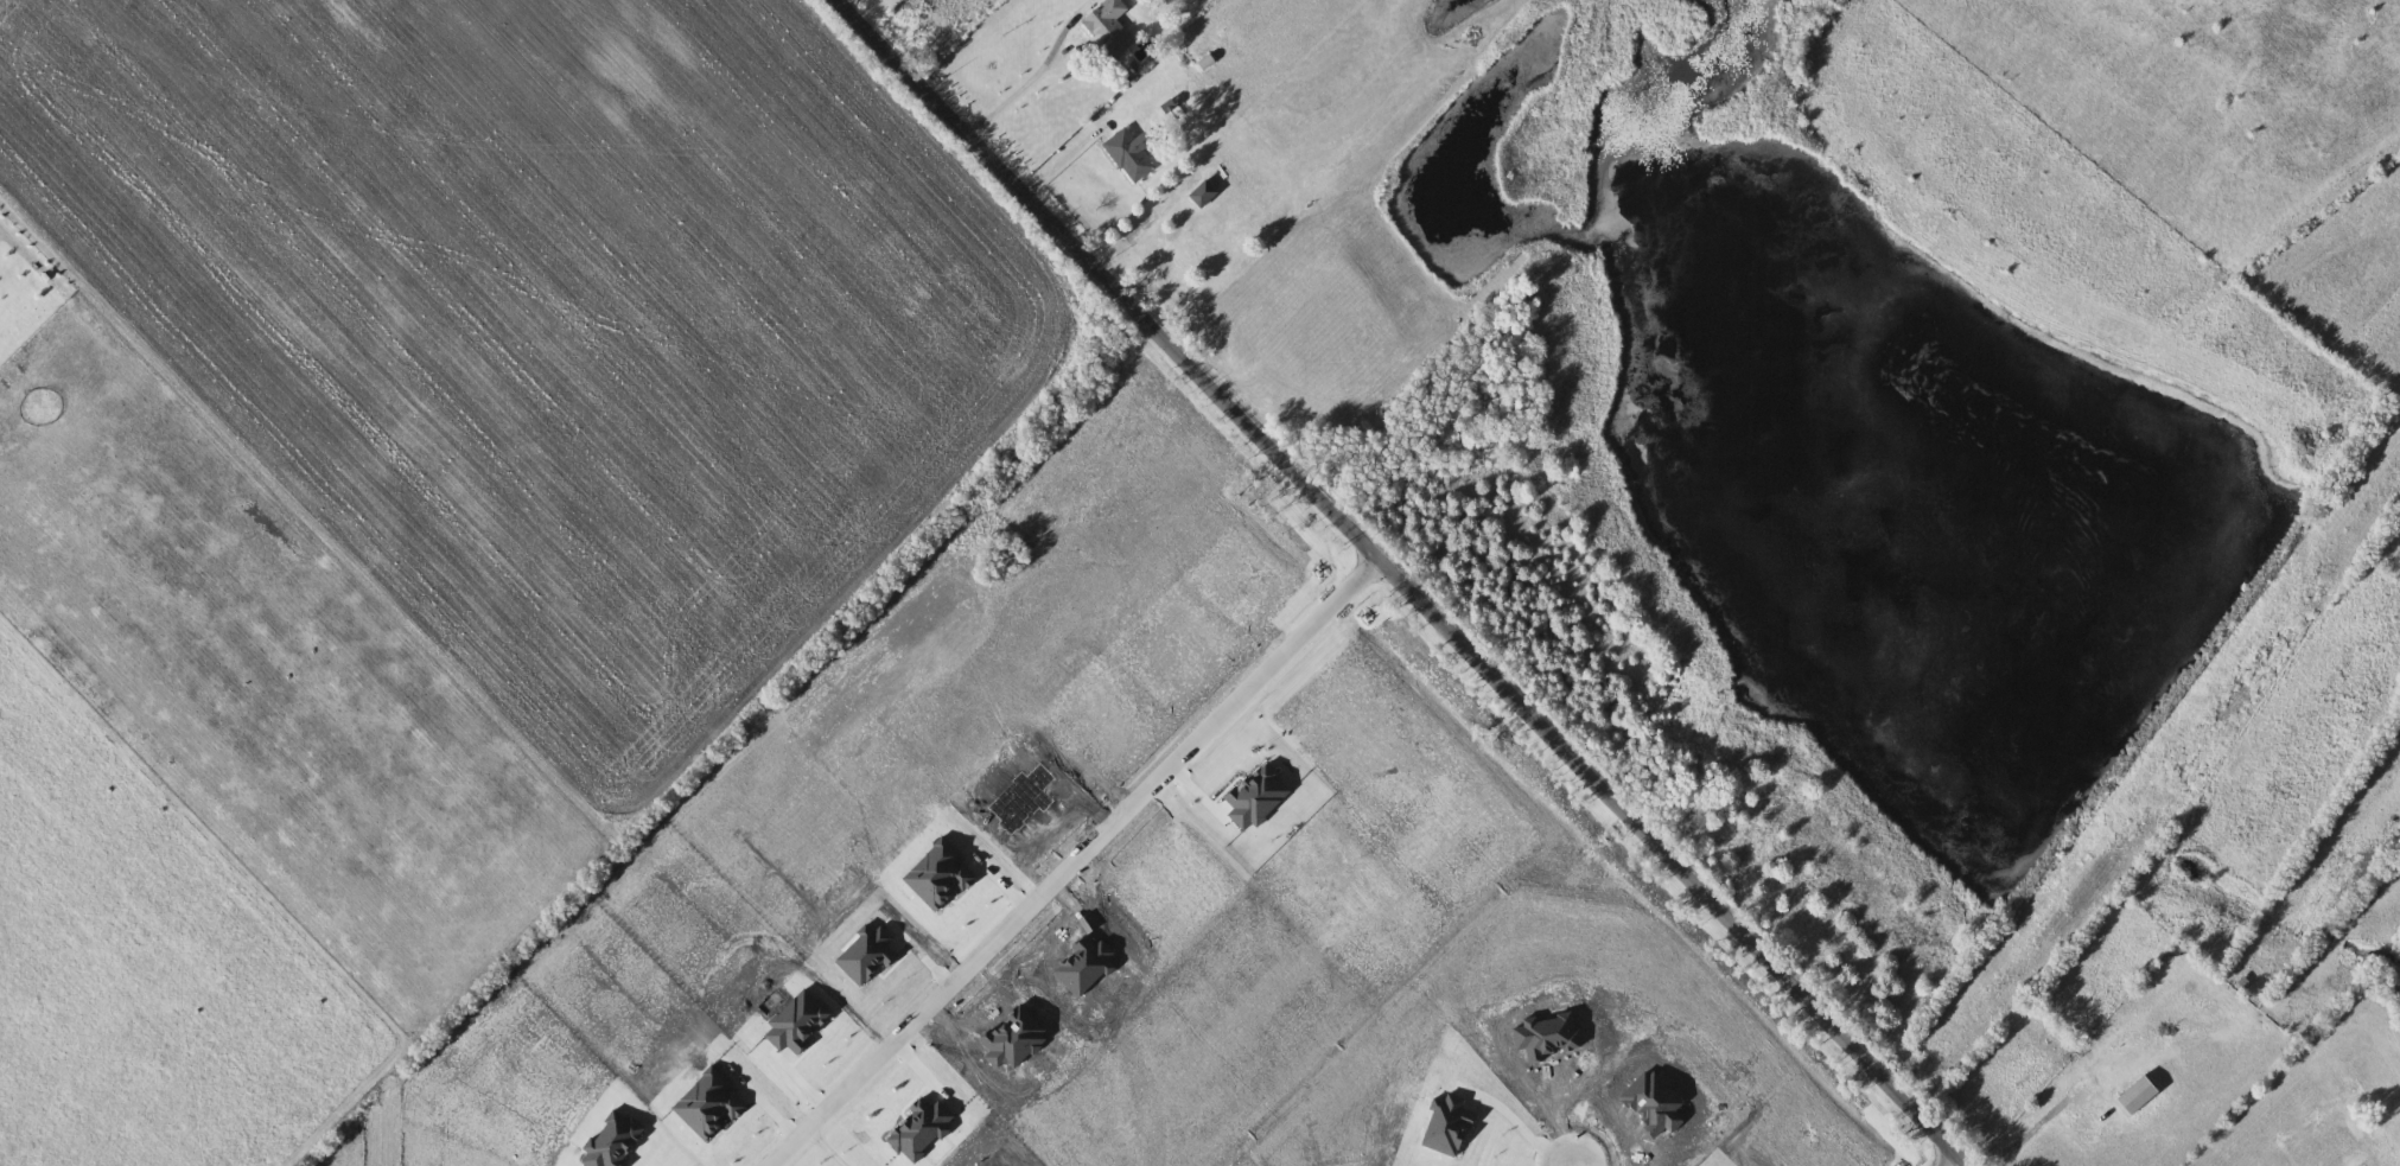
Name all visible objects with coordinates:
building: (1112, 24)
road: (1020, 85)
building: (1133, 155)
building: (1205, 195)
road: (33, 261)
road: (1403, 582)
road: (1069, 862)
building: (2140, 1096)
road: (1589, 1158)
road: (1948, 1158)

